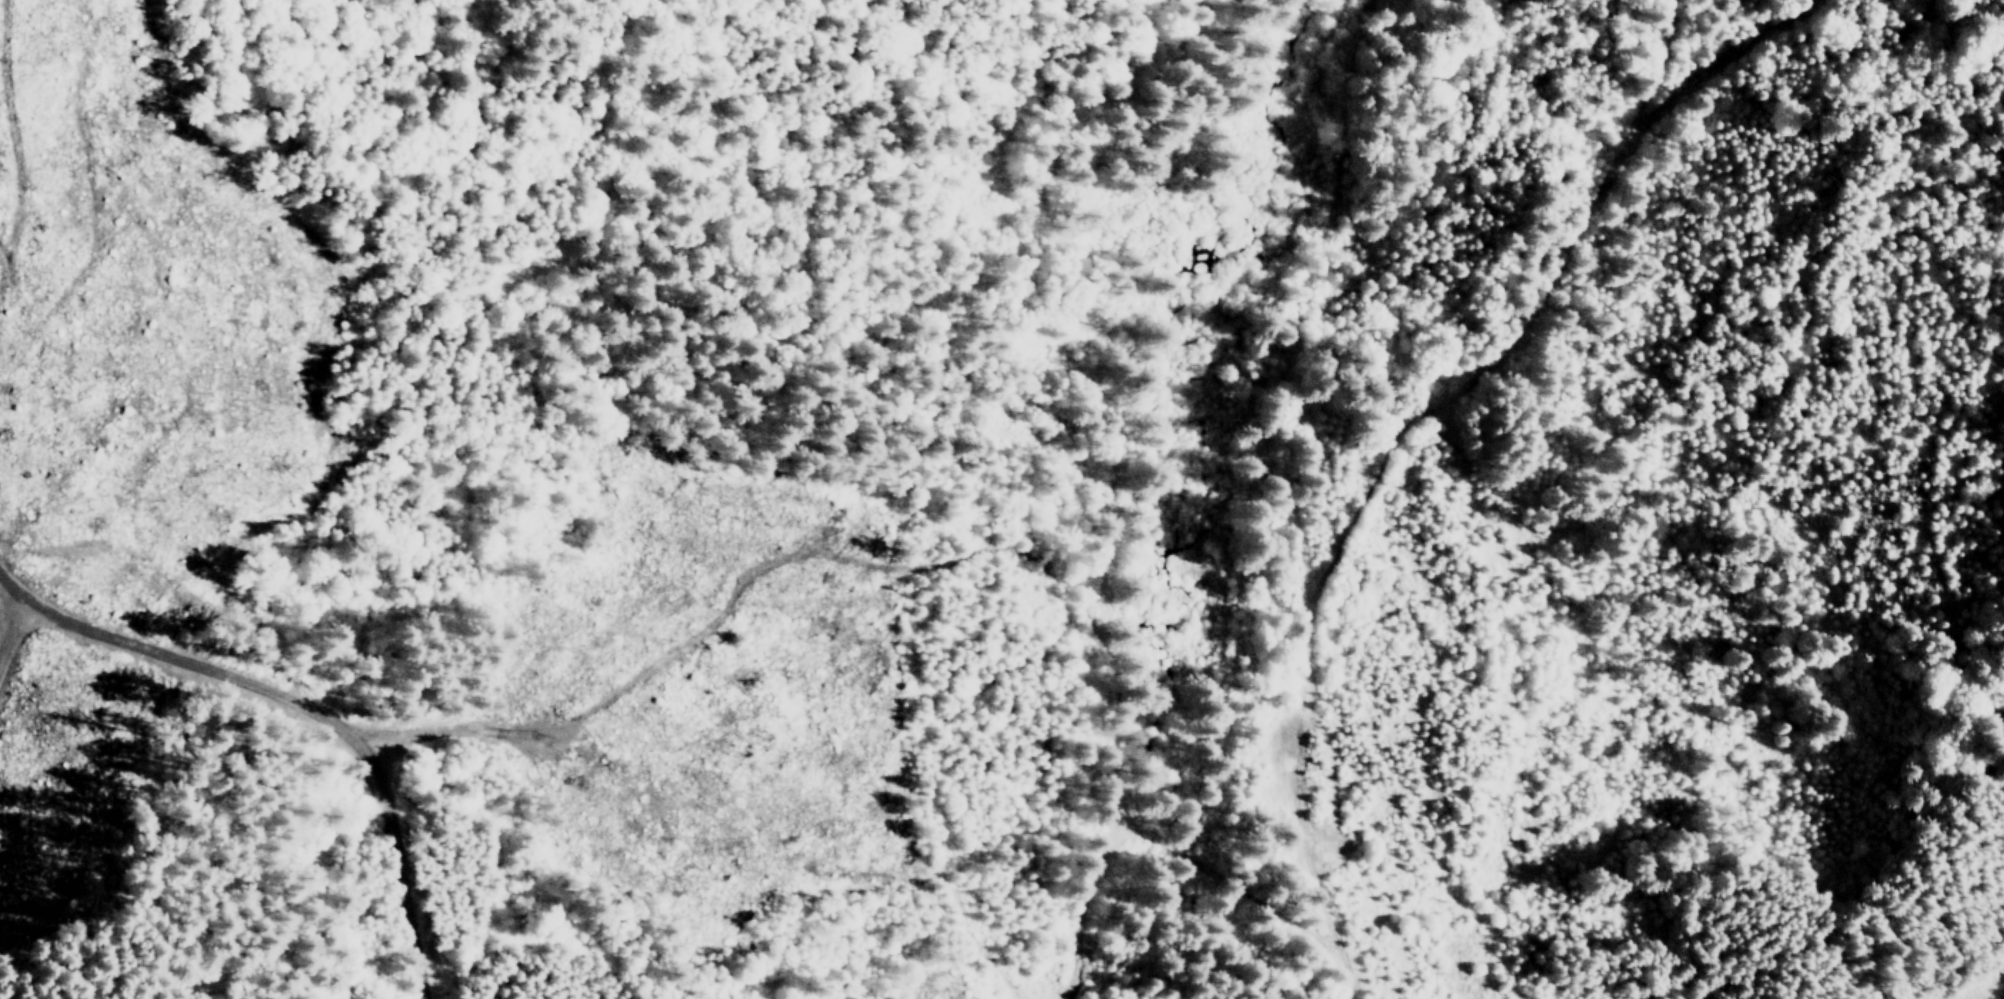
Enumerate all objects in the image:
road: (1660, 66)
road: (1409, 427)

